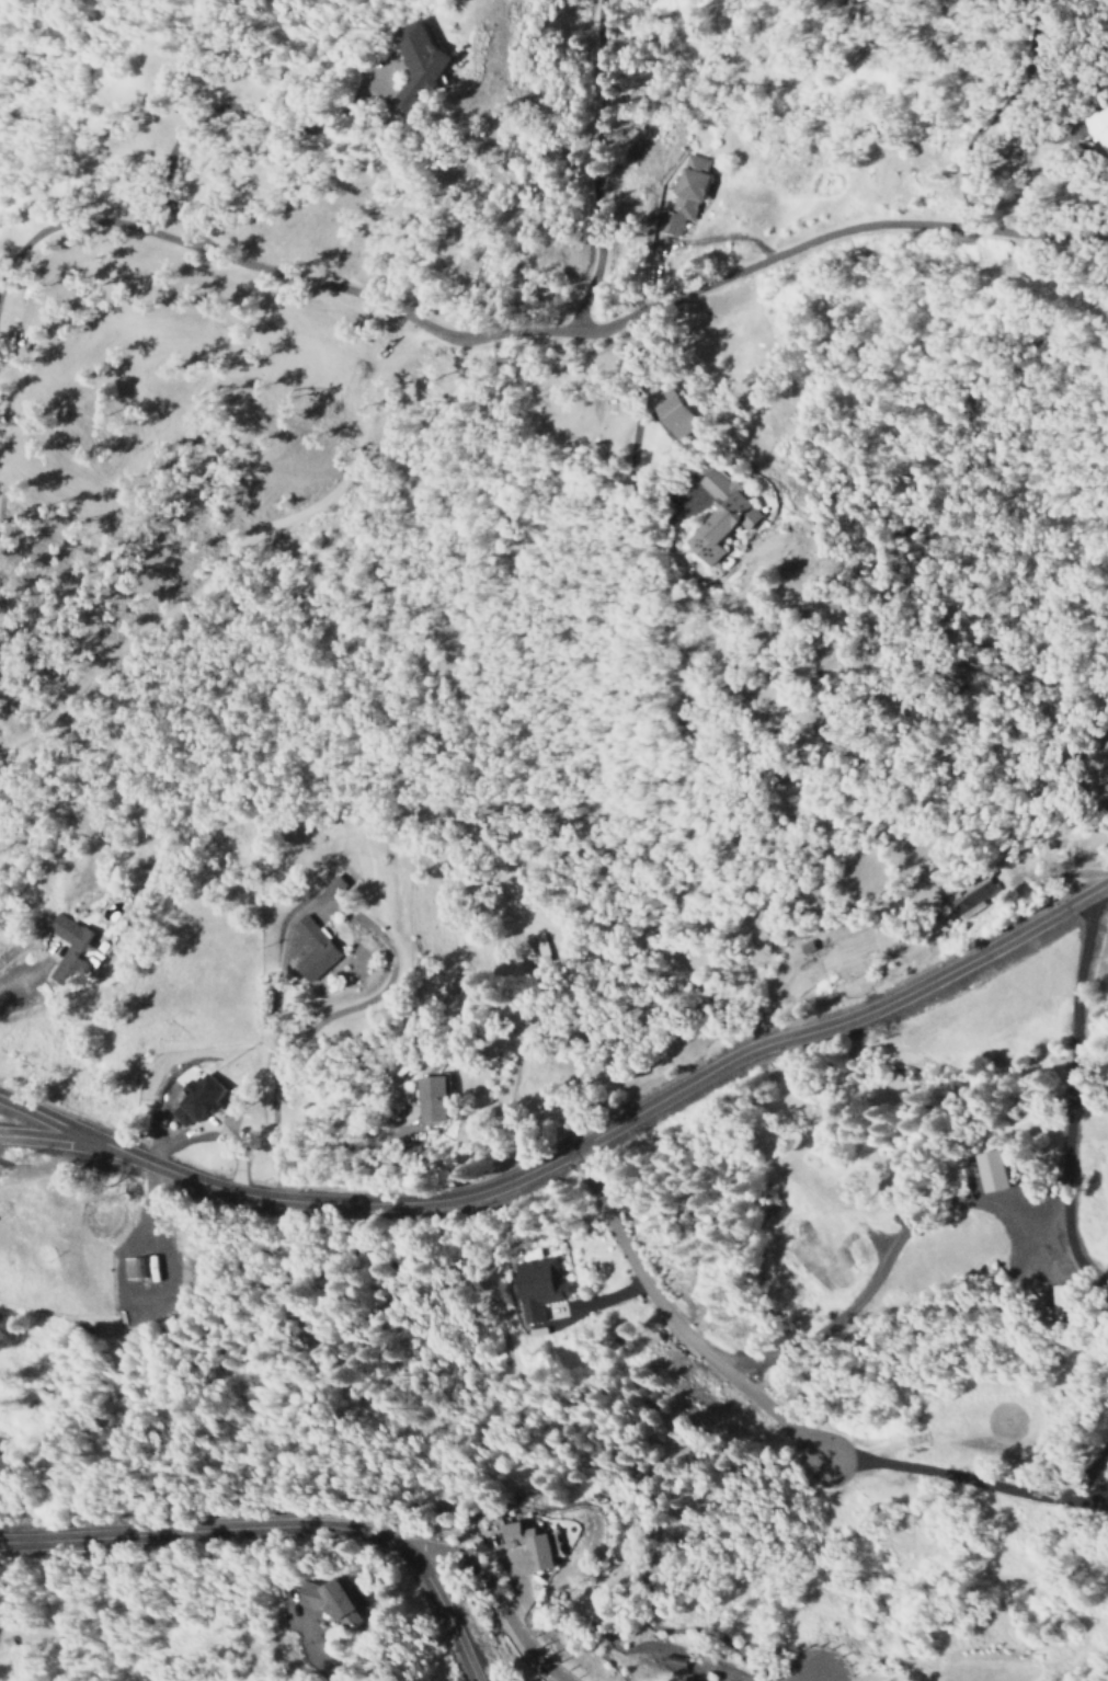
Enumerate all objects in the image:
building: (386, 58)
building: (1096, 126)
road: (596, 164)
building: (683, 193)
road: (538, 331)
building: (667, 411)
building: (710, 515)
building: (1107, 774)
building: (1100, 787)
building: (310, 949)
building: (68, 950)
road: (20, 982)
road: (1072, 1096)
building: (429, 1097)
building: (193, 1100)
road: (52, 1119)
road: (620, 1121)
road: (50, 1140)
building: (986, 1170)
building: (535, 1288)
road: (787, 1423)
building: (1, 1461)
road: (276, 1523)
building: (528, 1546)
road: (491, 1596)
building: (331, 1600)

